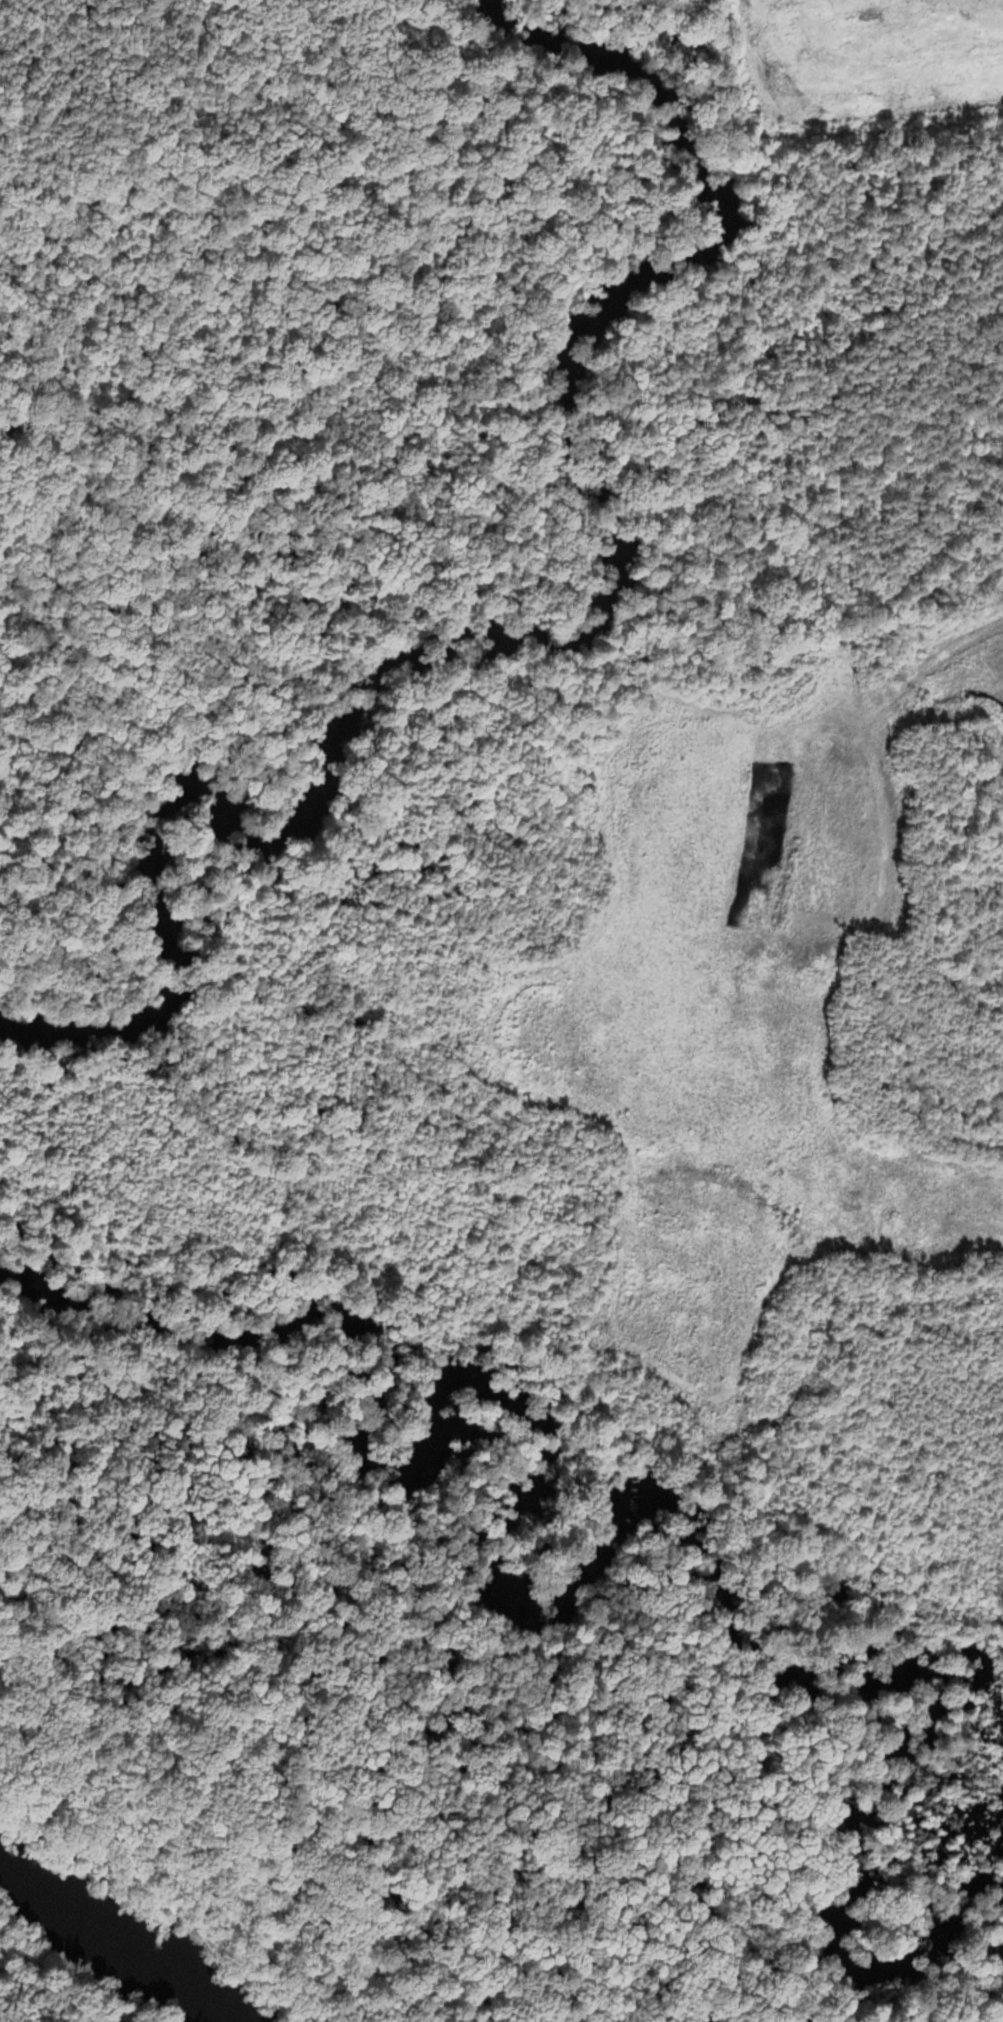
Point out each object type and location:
river: (108, 1949)

